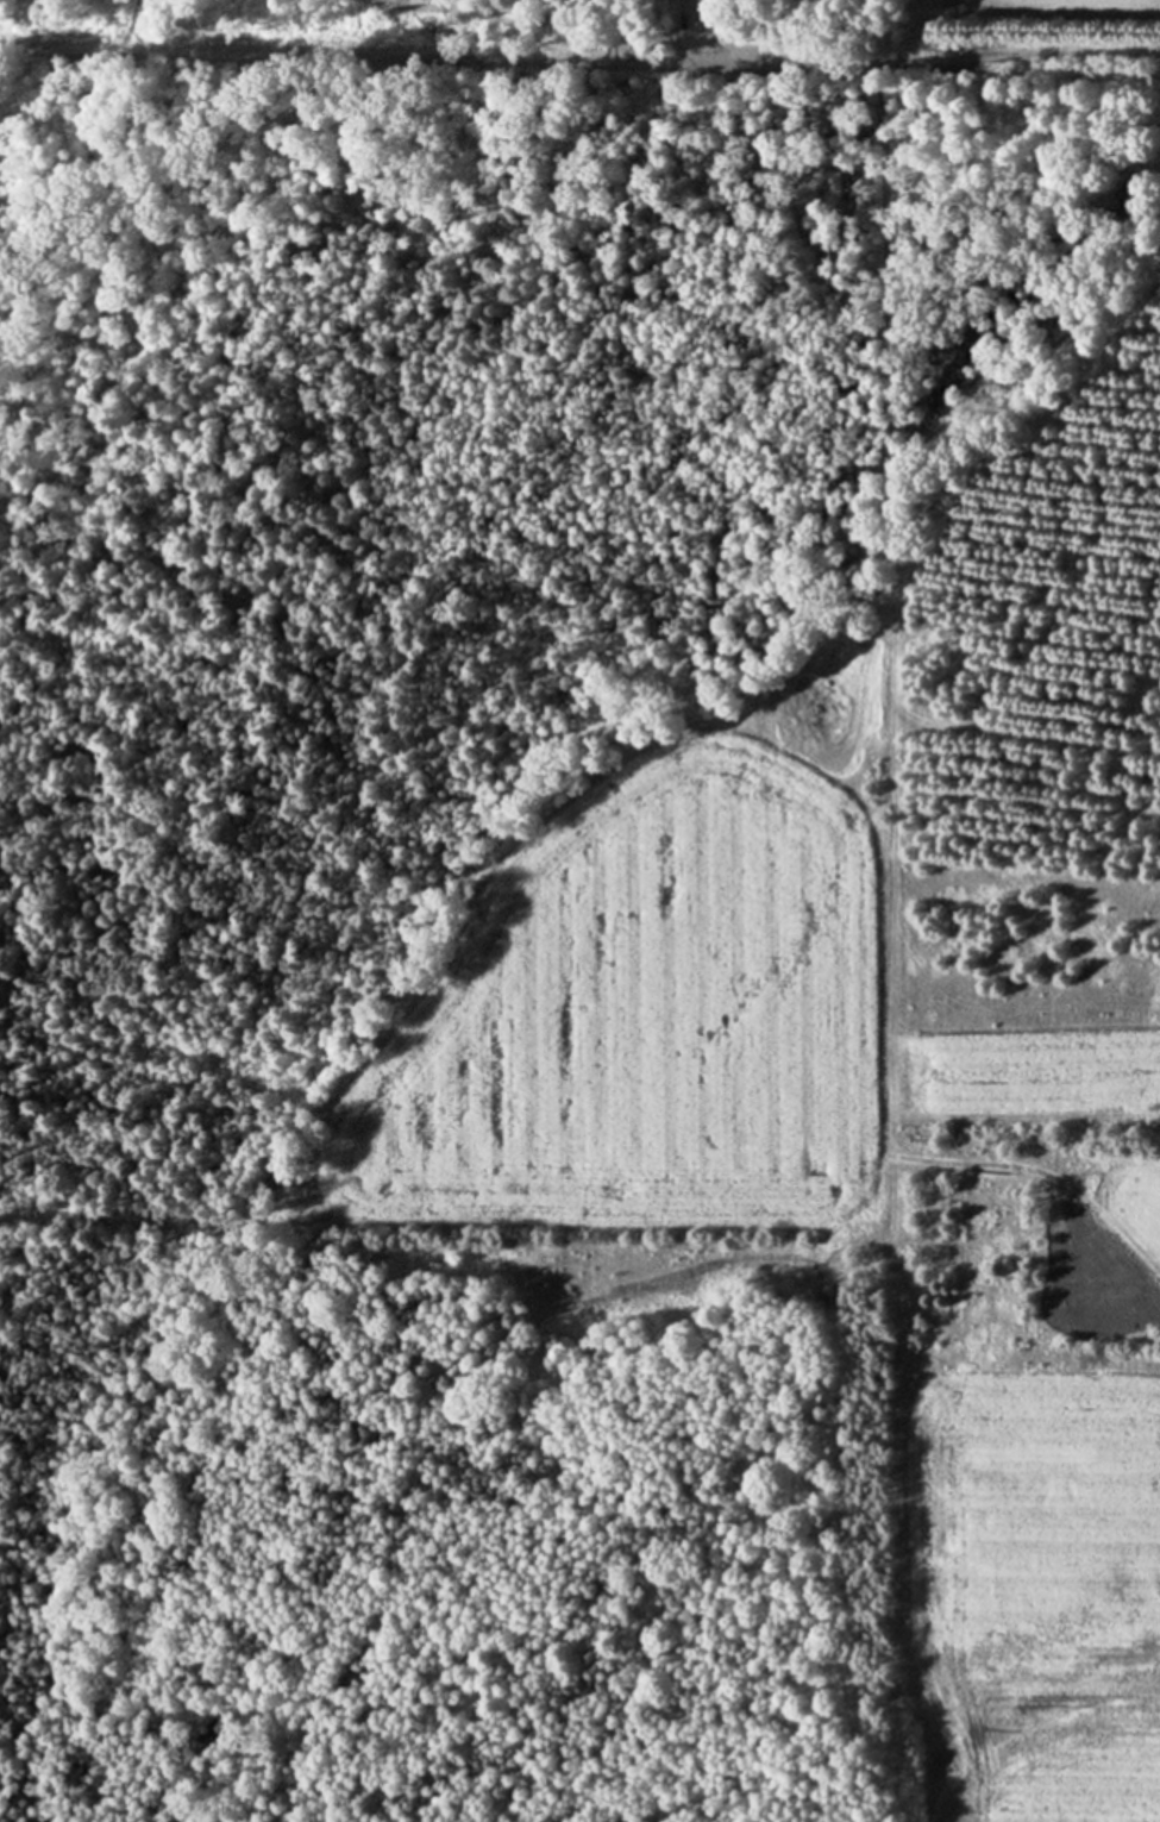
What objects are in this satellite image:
road: (914, 60)

